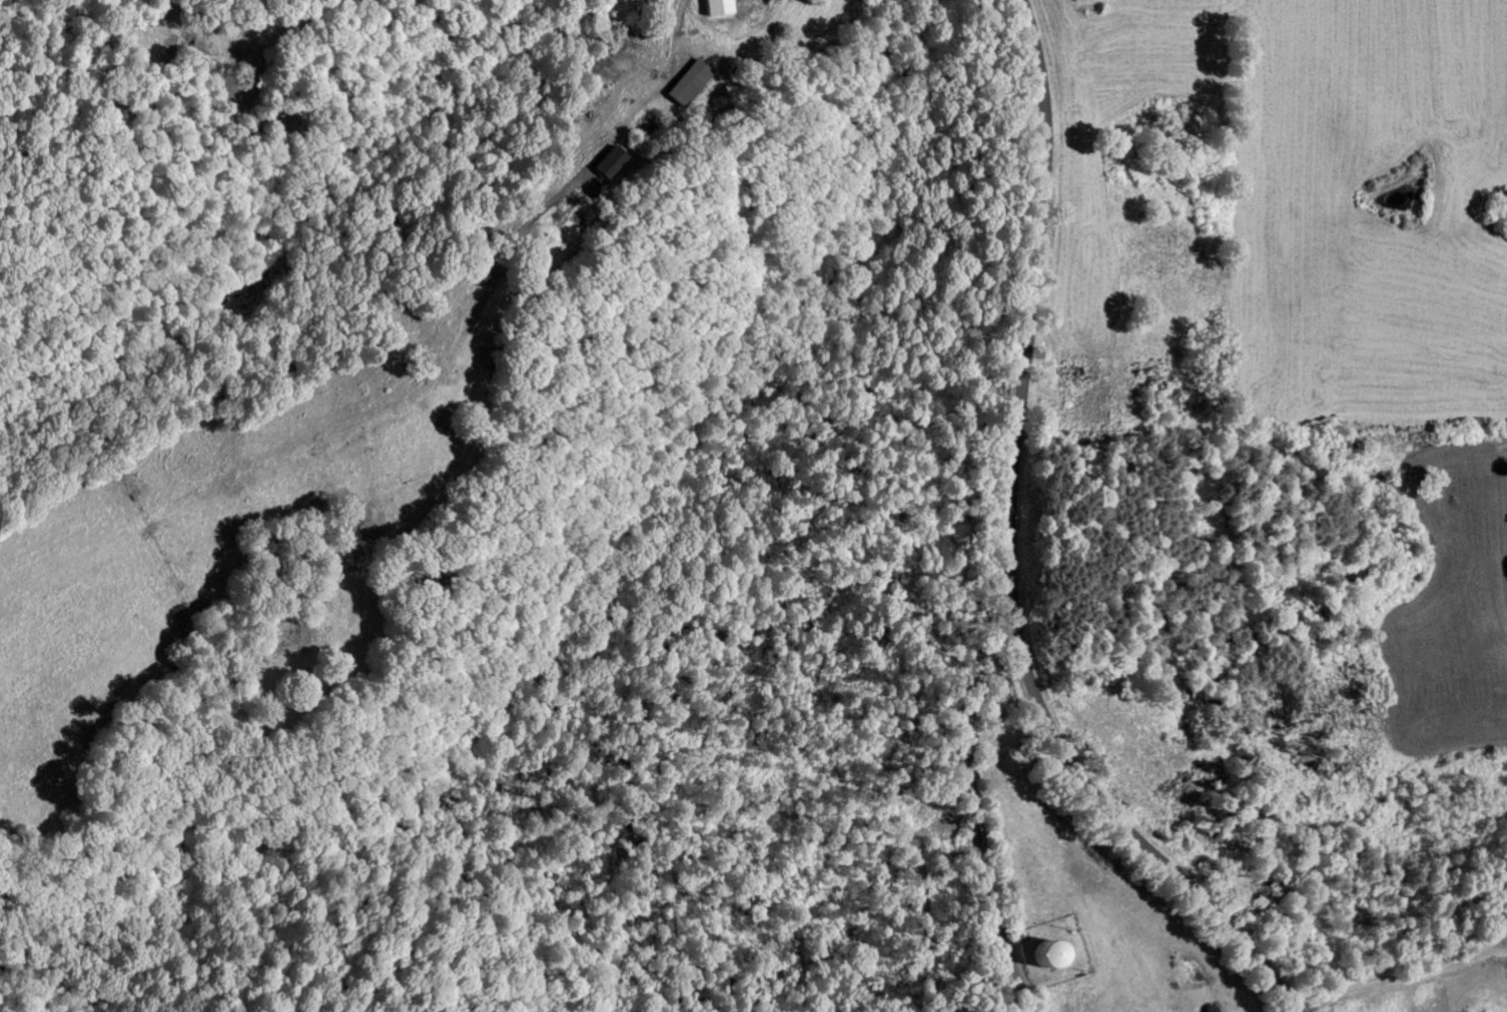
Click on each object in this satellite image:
building: (714, 9)
building: (684, 86)
building: (603, 165)
road: (1007, 555)
road: (959, 808)

